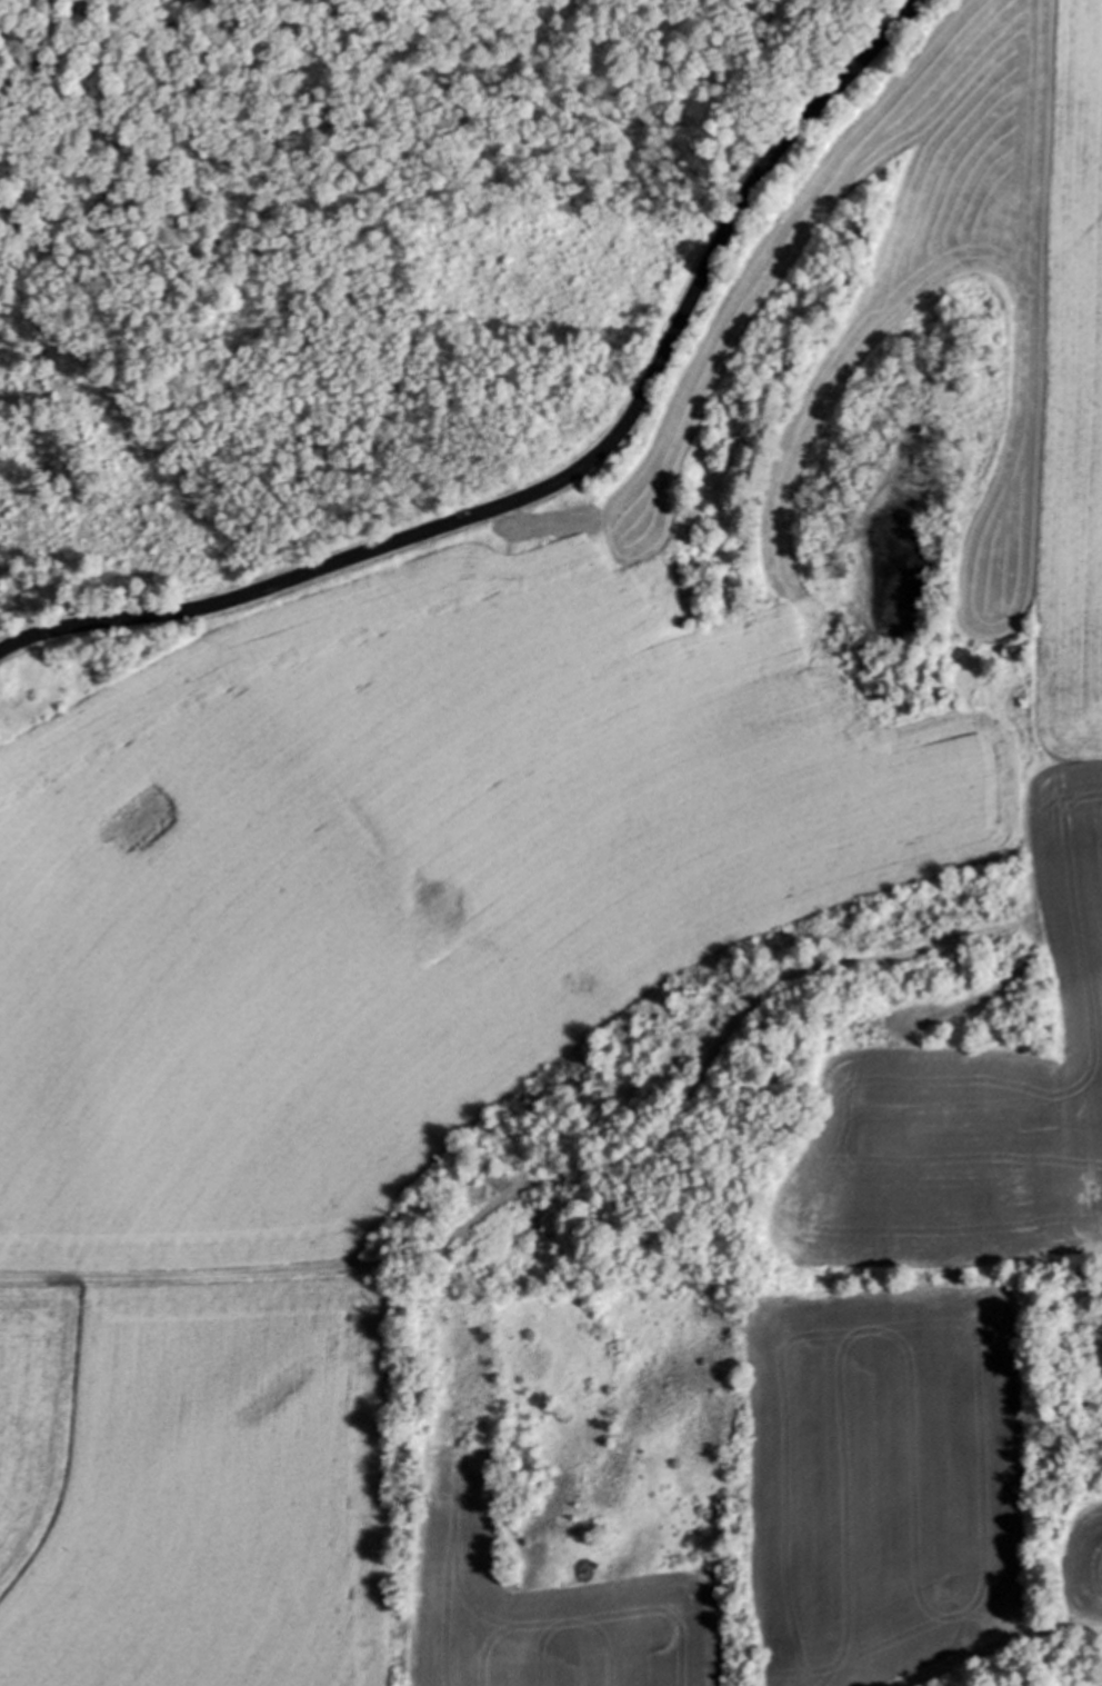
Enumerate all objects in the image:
road: (569, 475)

